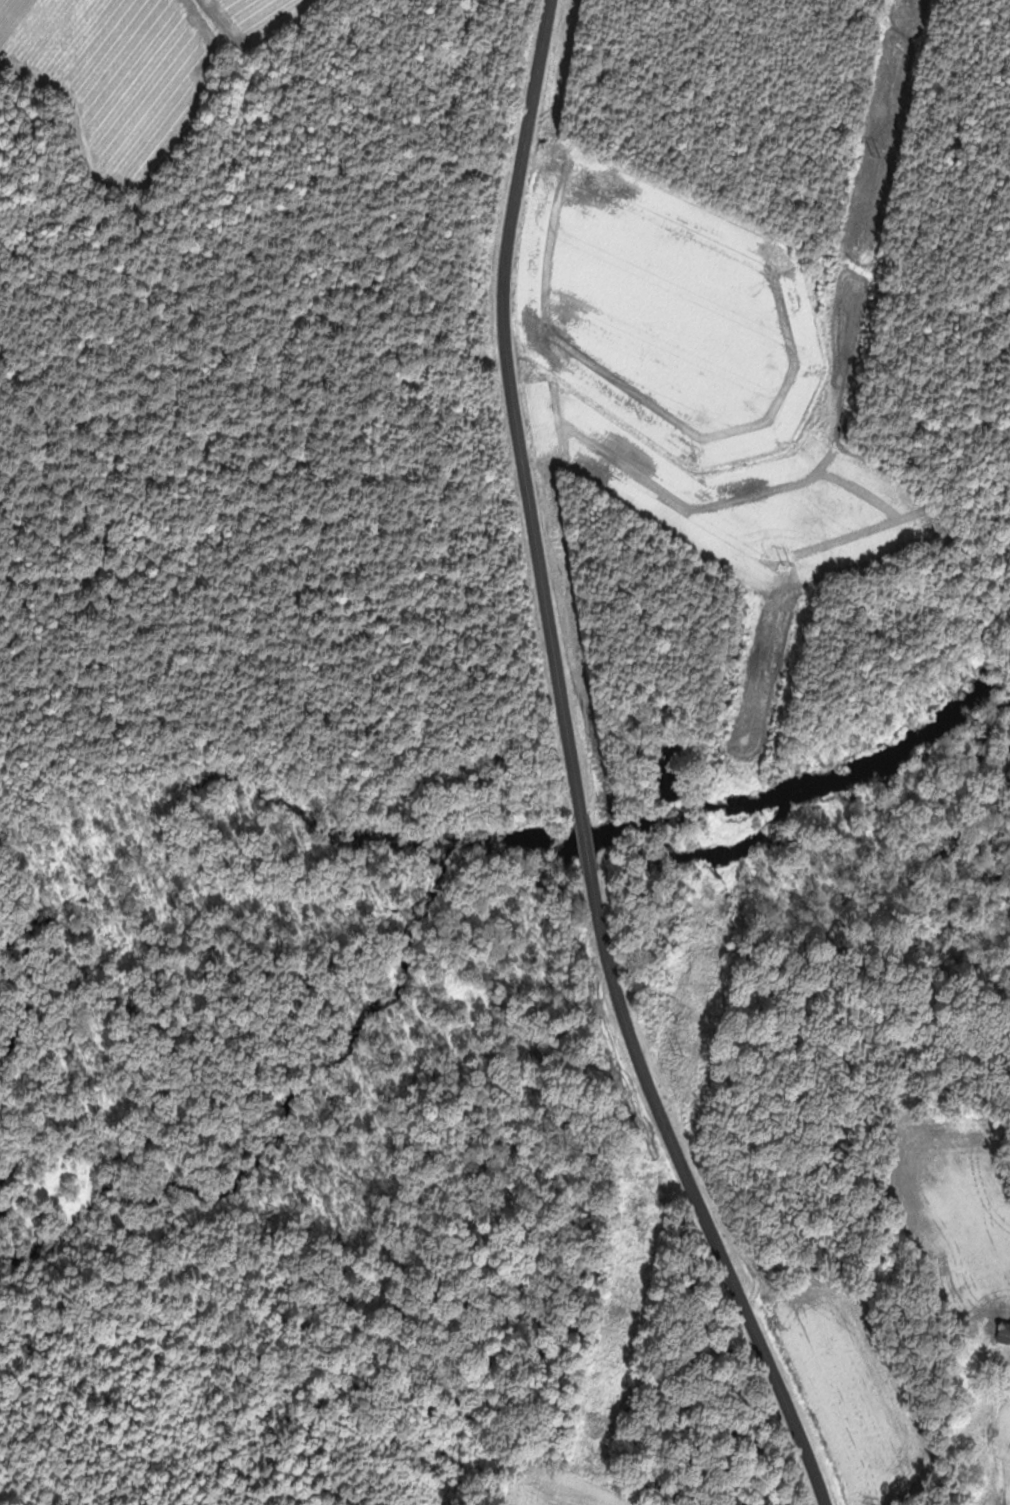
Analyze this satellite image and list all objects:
power tower: (877, 156)
road: (514, 407)
power tower: (788, 563)
road: (587, 842)
road: (597, 897)
power tower: (678, 1054)
road: (706, 1217)
building: (1006, 1334)

